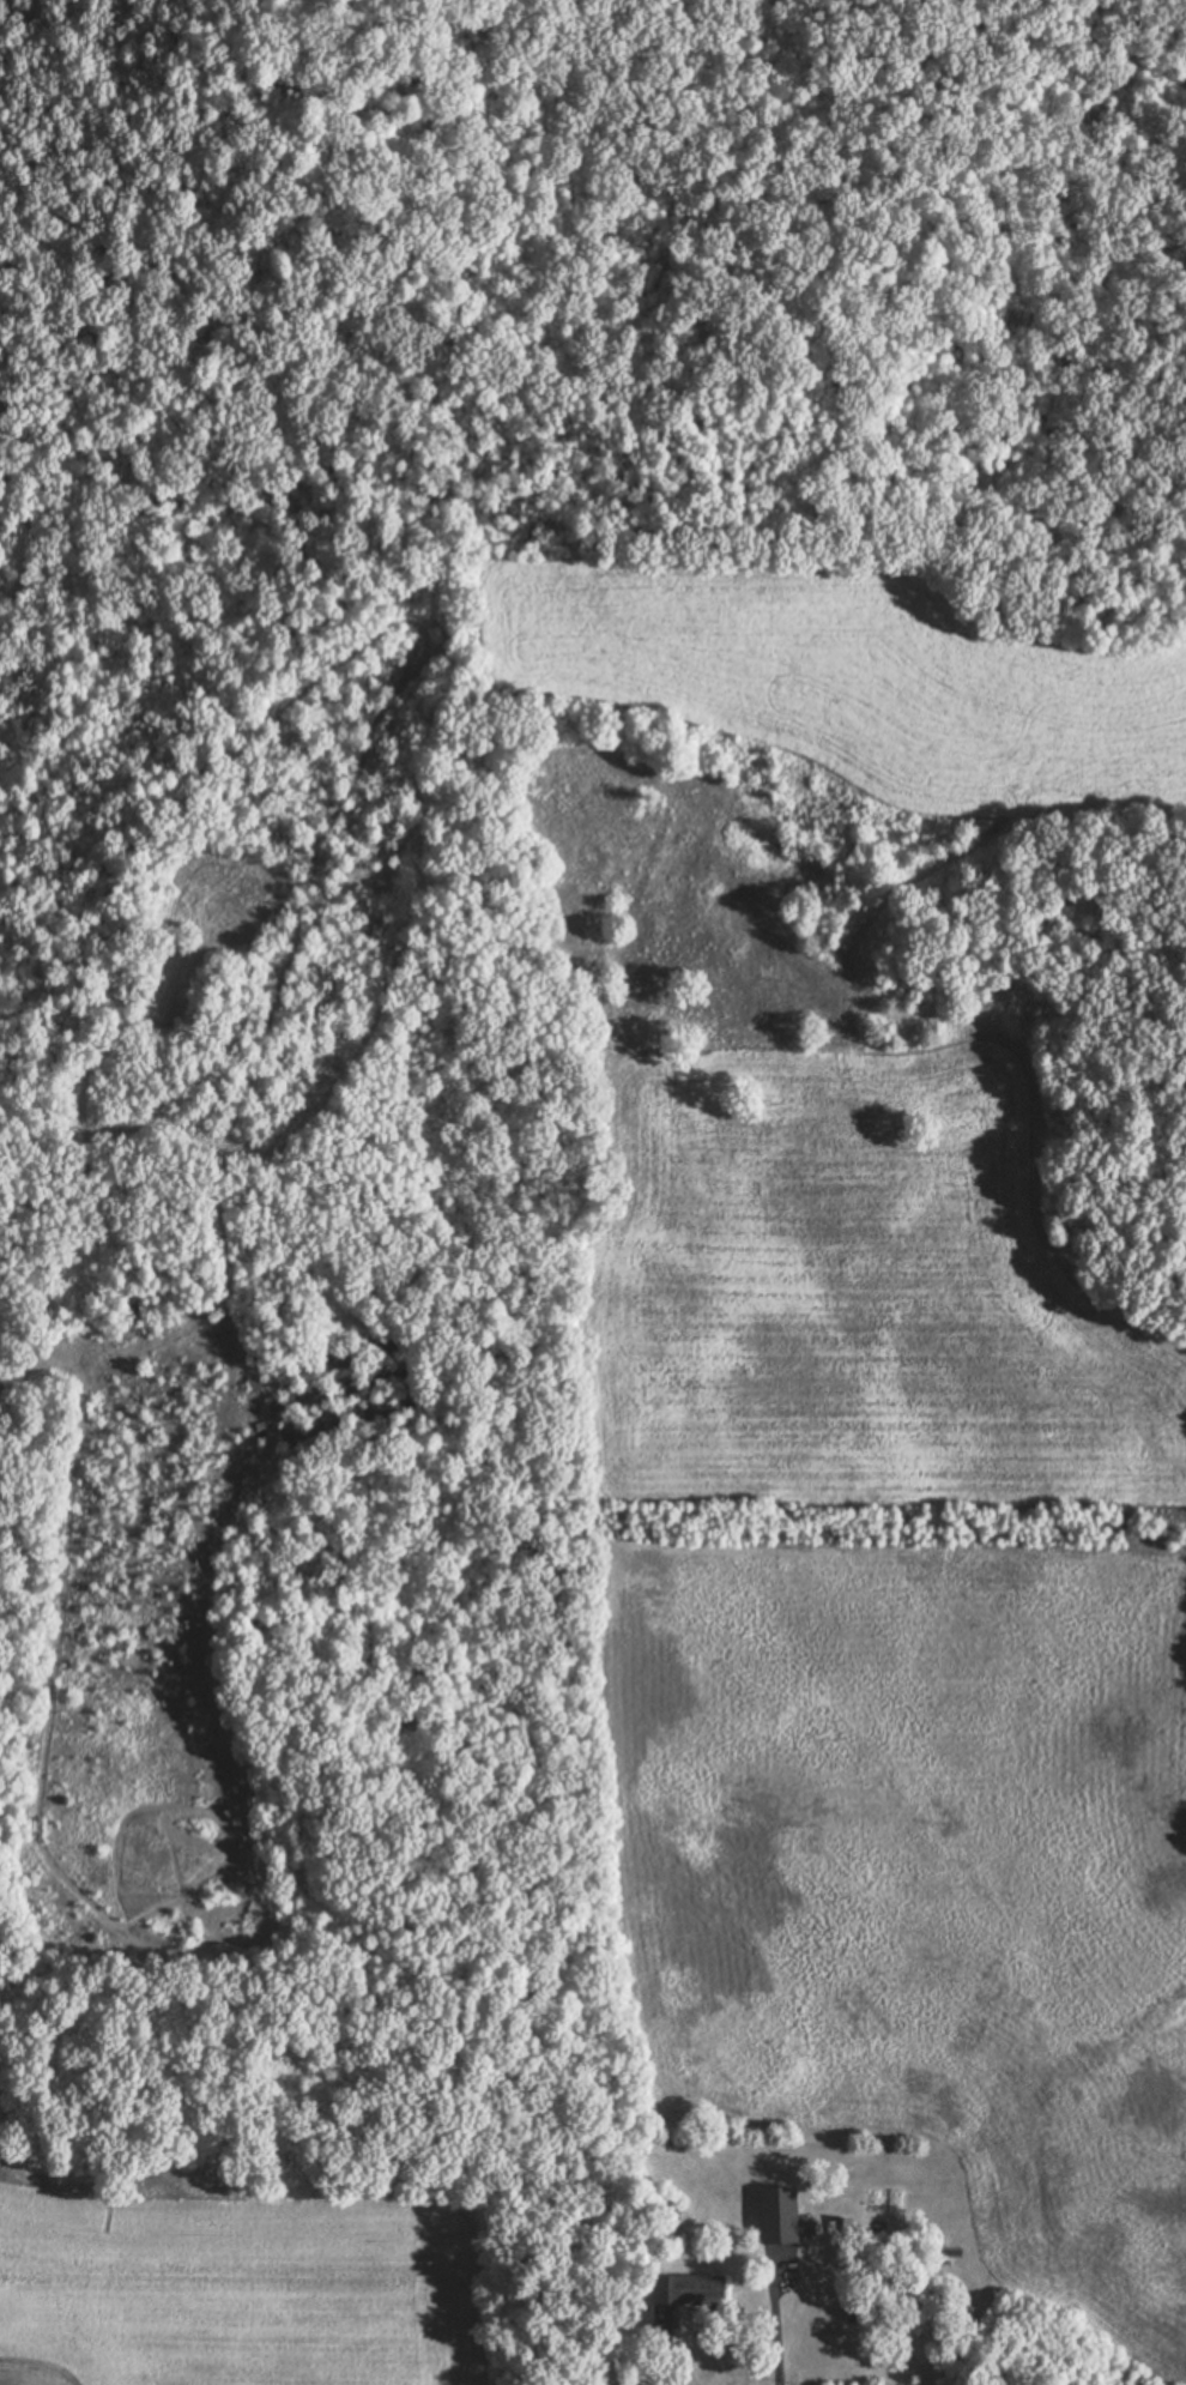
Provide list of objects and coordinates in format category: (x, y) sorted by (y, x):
building: (777, 2215)
building: (686, 2289)
road: (777, 2320)
road: (671, 2351)

